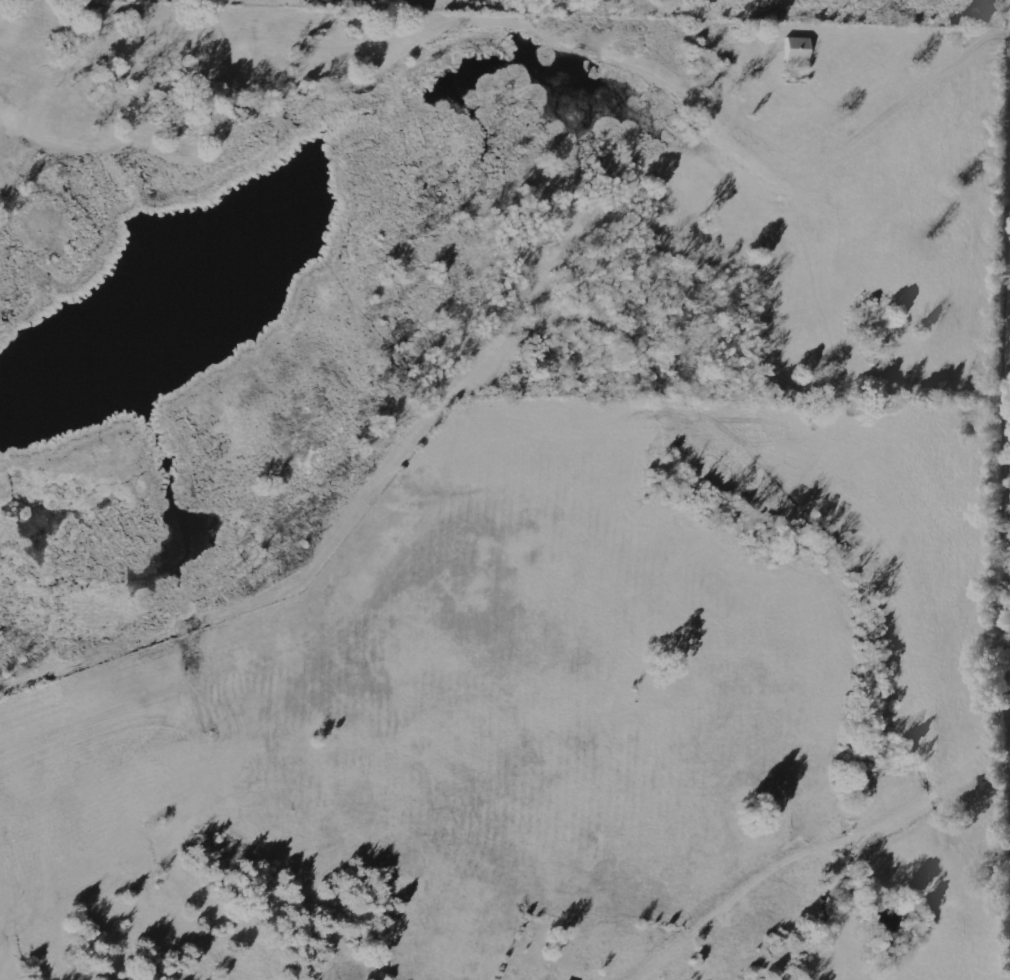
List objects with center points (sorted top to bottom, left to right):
building: (798, 50)

